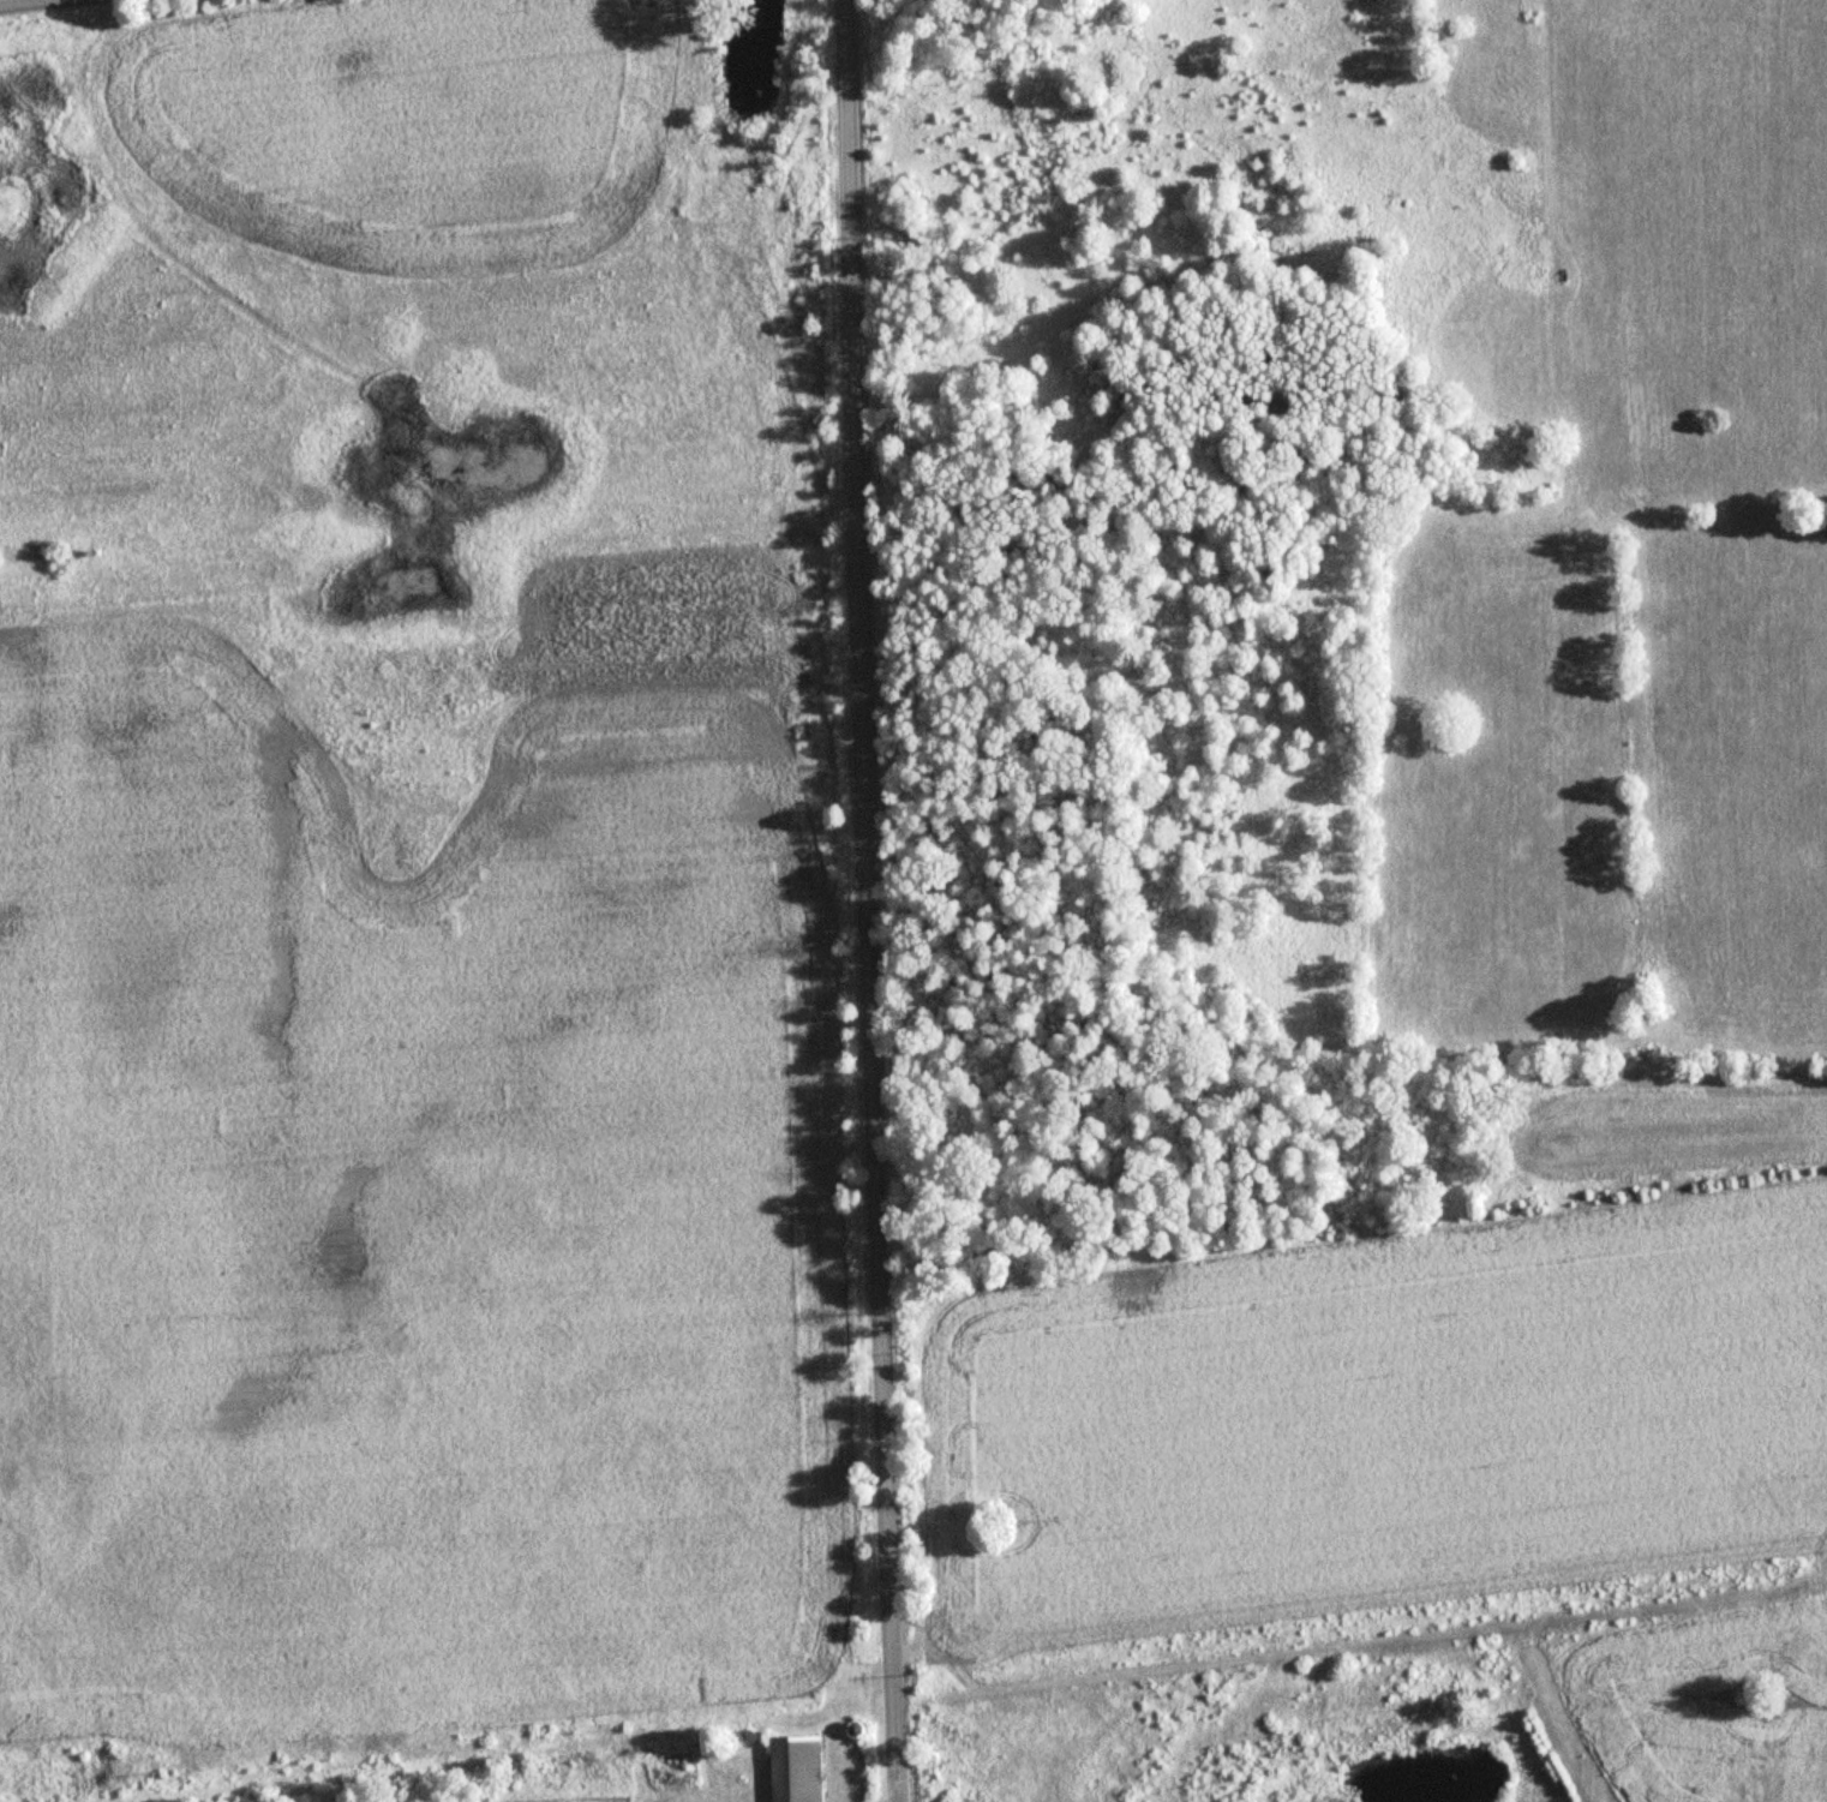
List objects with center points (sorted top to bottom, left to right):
road: (38, 4)
road: (868, 900)
building: (791, 1768)

